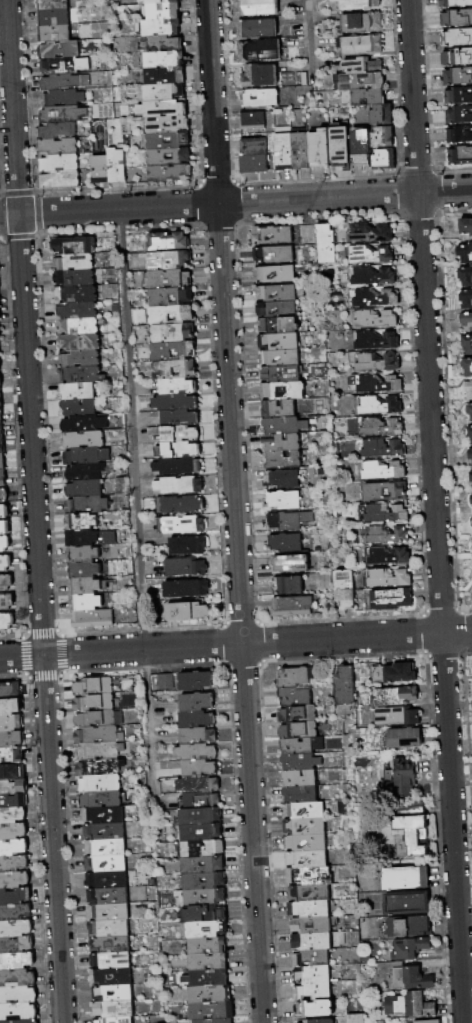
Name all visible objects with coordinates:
building: (159, 2)
building: (352, 4)
building: (454, 4)
building: (52, 5)
building: (253, 8)
building: (161, 11)
building: (53, 18)
building: (455, 19)
building: (356, 23)
building: (162, 28)
building: (254, 30)
building: (53, 34)
building: (456, 38)
road: (308, 41)
building: (163, 44)
building: (357, 45)
building: (60, 50)
building: (255, 51)
building: (456, 57)
building: (164, 60)
building: (63, 65)
building: (357, 66)
building: (166, 76)
building: (257, 76)
building: (457, 77)
building: (355, 81)
building: (63, 82)
building: (165, 92)
building: (457, 96)
building: (362, 97)
building: (61, 98)
building: (256, 98)
building: (163, 109)
building: (61, 114)
building: (376, 115)
building: (458, 116)
building: (249, 121)
building: (156, 125)
building: (56, 131)
building: (459, 135)
building: (377, 137)
building: (182, 141)
building: (57, 146)
building: (251, 147)
building: (356, 147)
building: (314, 148)
building: (335, 149)
building: (278, 151)
building: (294, 151)
building: (158, 157)
building: (458, 157)
building: (378, 160)
building: (58, 163)
building: (251, 165)
building: (118, 166)
building: (102, 170)
building: (170, 173)
building: (58, 180)
road: (236, 204)
building: (464, 226)
building: (365, 233)
building: (304, 234)
building: (282, 236)
building: (168, 242)
building: (322, 244)
building: (74, 246)
building: (272, 254)
building: (464, 254)
building: (365, 255)
building: (169, 261)
building: (74, 263)
building: (273, 274)
building: (367, 276)
building: (465, 277)
building: (74, 278)
building: (169, 279)
building: (283, 294)
building: (75, 295)
building: (172, 297)
building: (368, 297)
building: (465, 300)
building: (78, 311)
building: (284, 311)
building: (0, 315)
building: (172, 315)
building: (369, 319)
building: (466, 322)
building: (78, 326)
building: (286, 326)
building: (174, 333)
building: (0, 335)
building: (370, 341)
building: (79, 342)
building: (286, 343)
building: (467, 345)
building: (174, 351)
building: (287, 358)
building: (80, 359)
building: (371, 362)
building: (0, 366)
building: (467, 368)
building: (175, 370)
building: (81, 375)
building: (277, 375)
building: (1, 382)
building: (370, 383)
building: (179, 387)
building: (468, 390)
building: (77, 391)
building: (280, 391)
building: (1, 398)
building: (176, 403)
building: (374, 405)
building: (78, 408)
building: (276, 409)
building: (468, 411)
building: (1, 412)
building: (181, 418)
building: (84, 424)
building: (281, 426)
building: (374, 427)
building: (1, 429)
building: (176, 433)
building: (469, 434)
building: (83, 439)
building: (279, 443)
building: (2, 446)
building: (376, 448)
building: (179, 450)
building: (469, 455)
building: (86, 456)
building: (280, 459)
building: (2, 462)
building: (178, 467)
building: (378, 469)
building: (84, 472)
building: (3, 478)
building: (470, 478)
building: (280, 479)
building: (122, 486)
building: (179, 486)
building: (83, 489)
building: (380, 491)
building: (4, 495)
building: (281, 500)
building: (471, 500)
building: (87, 505)
building: (181, 505)
building: (2, 507)
road: (135, 508)
road: (34, 511)
road: (234, 511)
road: (435, 511)
building: (4, 512)
building: (380, 513)
building: (286, 520)
building: (81, 521)
building: (471, 523)
building: (182, 525)
building: (5, 528)
building: (381, 535)
building: (89, 537)
building: (283, 543)
building: (5, 544)
building: (189, 546)
building: (83, 554)
building: (383, 556)
building: (5, 563)
building: (287, 564)
building: (186, 568)
building: (84, 571)
building: (383, 578)
building: (6, 582)
building: (286, 585)
building: (85, 586)
building: (187, 589)
building: (339, 589)
building: (386, 599)
building: (6, 603)
building: (86, 603)
building: (289, 606)
building: (188, 612)
building: (92, 619)
building: (7, 622)
road: (236, 644)
building: (395, 674)
building: (297, 677)
building: (196, 681)
building: (165, 682)
building: (94, 686)
building: (346, 686)
building: (10, 691)
building: (296, 696)
building: (397, 697)
building: (198, 702)
building: (95, 703)
building: (10, 707)
building: (298, 715)
building: (398, 717)
building: (100, 719)
building: (198, 719)
building: (11, 724)
building: (299, 731)
building: (99, 735)
building: (199, 736)
building: (12, 740)
building: (405, 740)
building: (302, 746)
building: (101, 751)
building: (197, 752)
building: (11, 756)
building: (301, 763)
building: (101, 767)
building: (200, 768)
building: (12, 773)
building: (299, 779)
building: (401, 779)
building: (100, 783)
building: (199, 785)
building: (14, 787)
building: (300, 795)
building: (101, 799)
building: (14, 801)
building: (200, 801)
building: (305, 811)
building: (12, 815)
building: (114, 817)
building: (201, 817)
building: (316, 828)
building: (13, 831)
building: (115, 832)
building: (412, 832)
building: (202, 833)
building: (294, 843)
building: (13, 848)
building: (116, 848)
building: (204, 849)
building: (318, 861)
building: (14, 864)
building: (117, 865)
building: (204, 865)
building: (323, 876)
building: (407, 878)
building: (14, 880)
building: (107, 880)
building: (205, 881)
building: (310, 893)
building: (15, 897)
building: (119, 897)
building: (206, 897)
building: (407, 904)
building: (310, 909)
building: (15, 913)
building: (120, 913)
building: (204, 914)
building: (313, 925)
building: (408, 927)
building: (110, 928)
building: (16, 929)
building: (207, 929)
building: (313, 941)
building: (16, 945)
building: (111, 945)
building: (208, 946)
building: (411, 949)
building: (312, 958)
building: (112, 961)
building: (17, 962)
building: (209, 962)
building: (313, 974)
building: (18, 978)
building: (122, 978)
building: (411, 978)
building: (207, 979)
building: (315, 991)
building: (124, 993)
building: (18, 995)
building: (211, 995)
building: (411, 1006)
building: (114, 1009)
building: (316, 1009)
building: (212, 1011)
building: (18, 1012)
building: (357, 1018)
building: (115, 1020)
building: (23, 1021)
building: (215, 1021)
building: (320, 1021)
building: (426, 1021)
building: (380, 1022)

